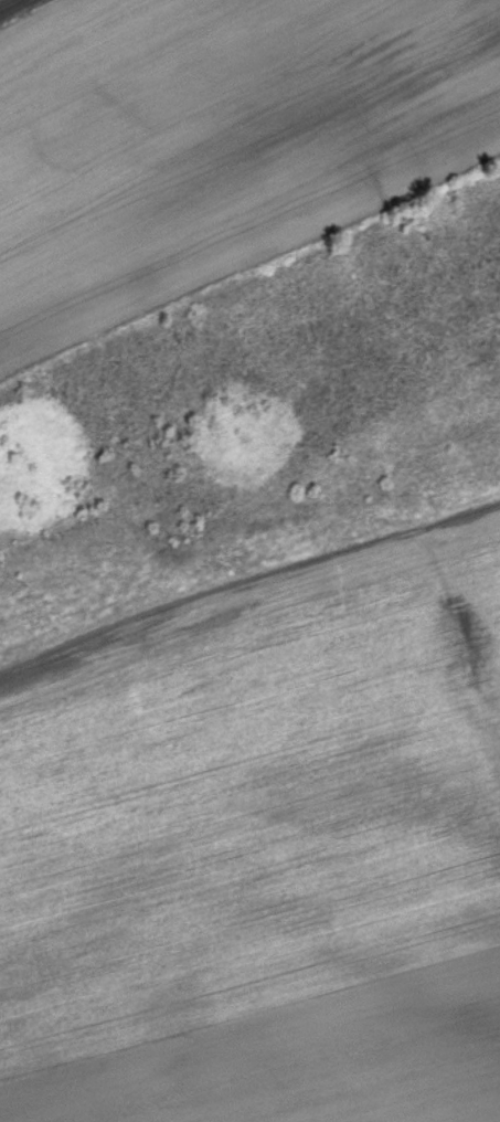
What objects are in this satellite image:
railway: (10, 4)

